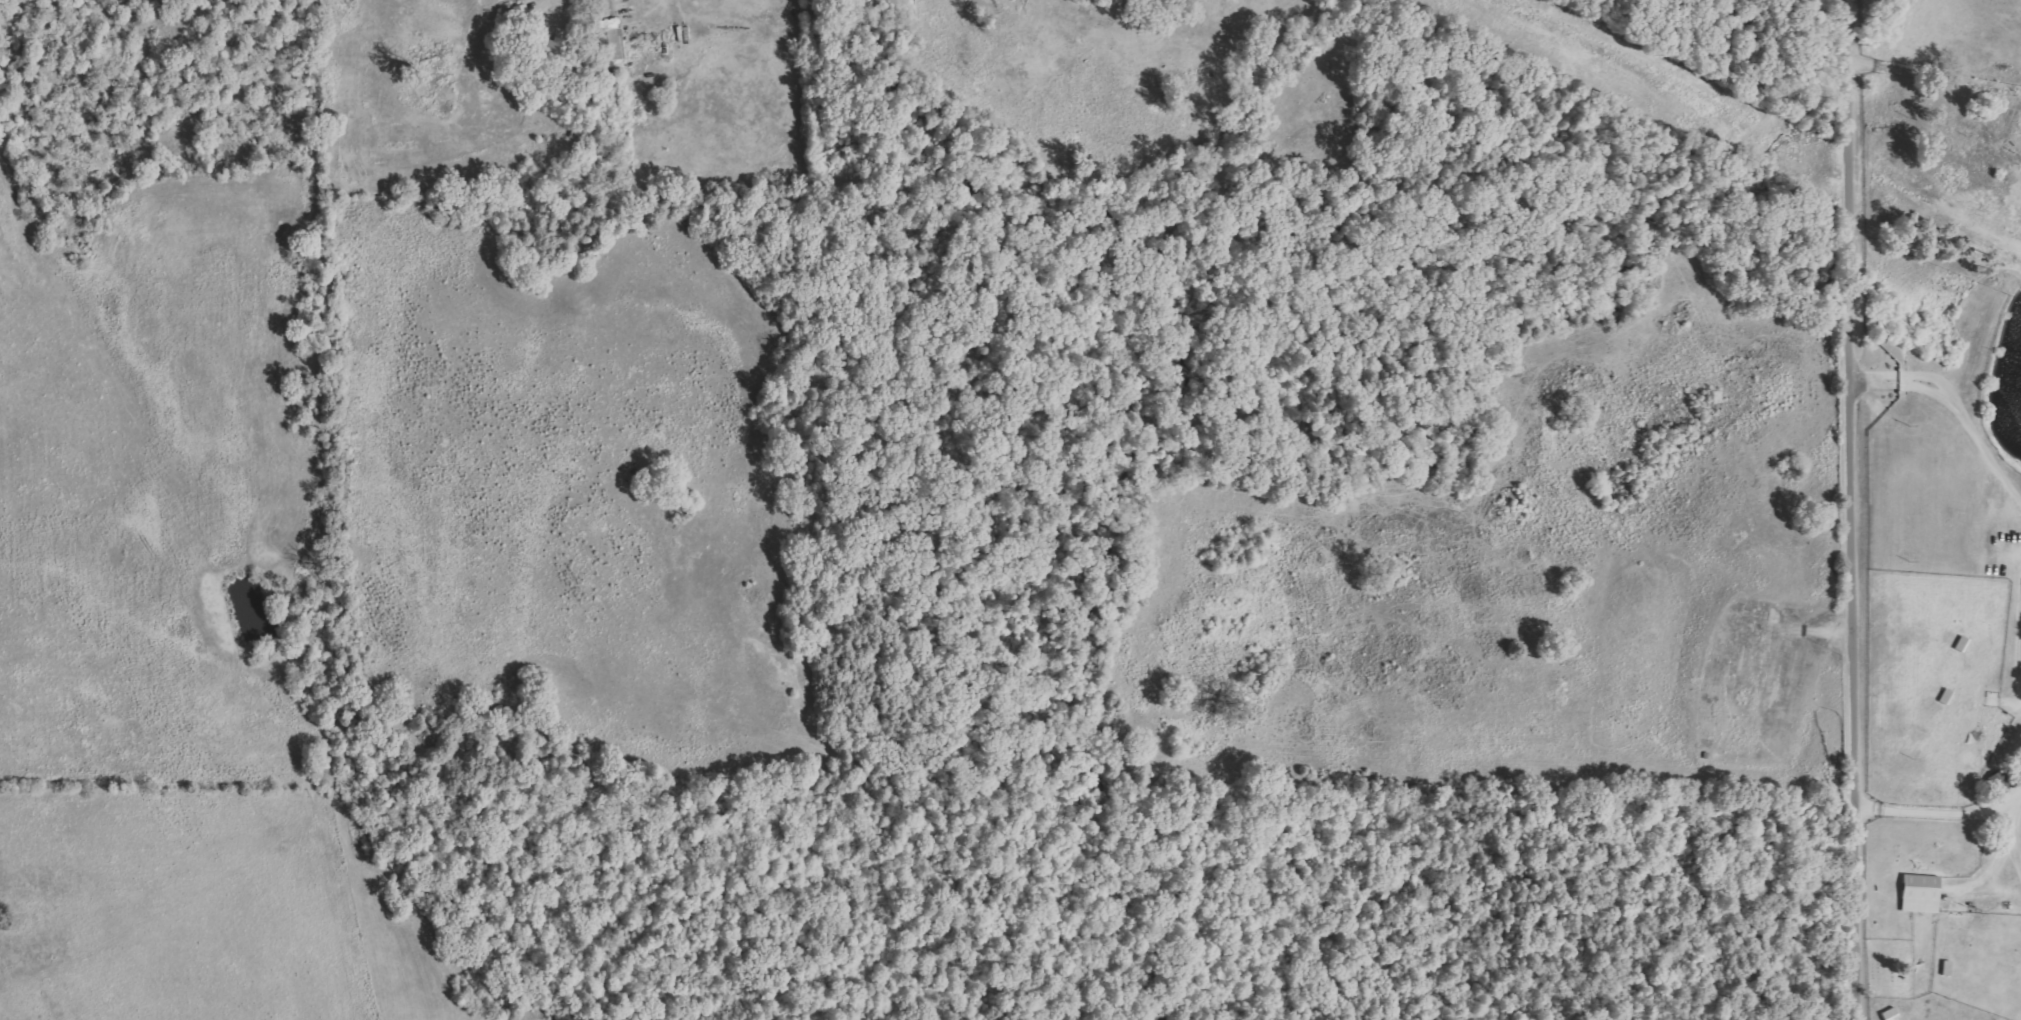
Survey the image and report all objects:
road: (1956, 407)
road: (1852, 510)
road: (1943, 810)
building: (1917, 894)
park: (1889, 968)
building: (1945, 969)
building: (1887, 1015)

